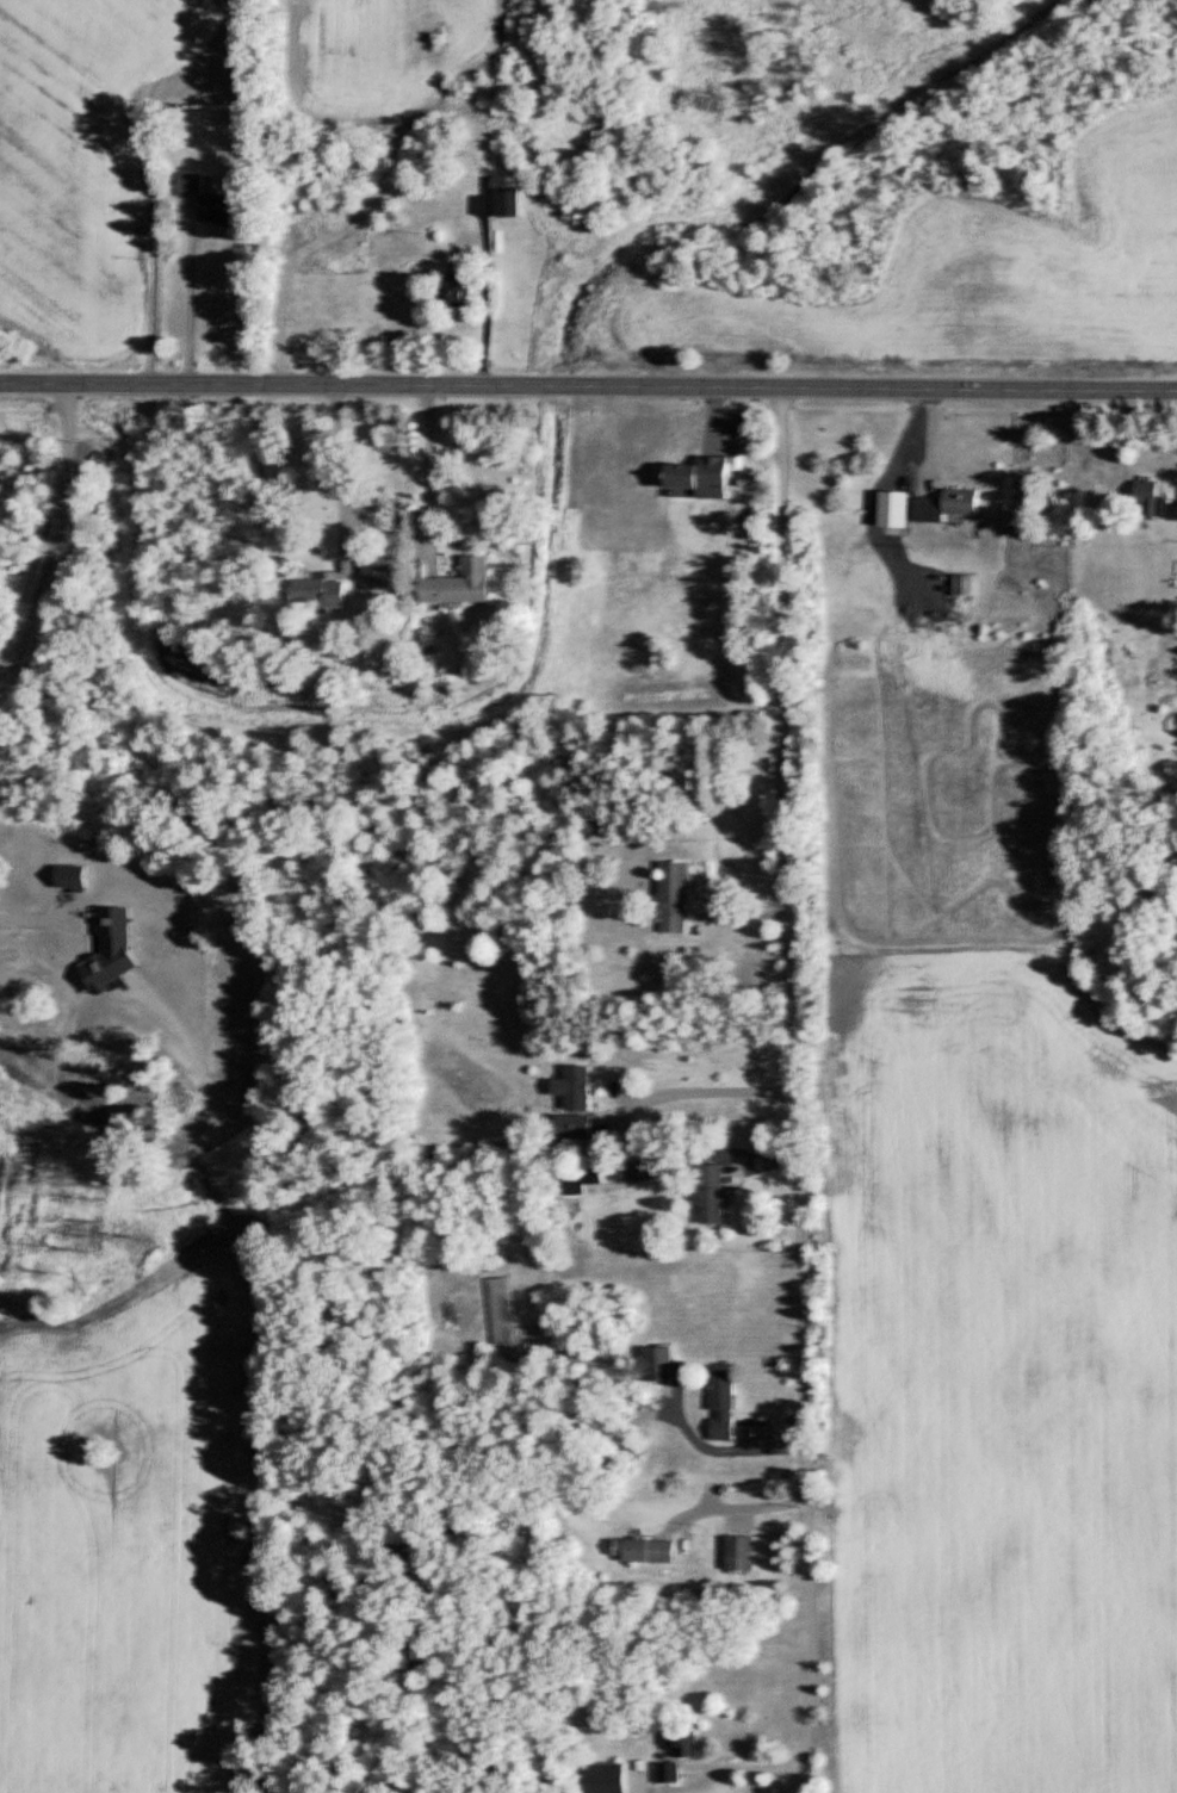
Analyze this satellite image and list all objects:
road: (153, 175)
building: (209, 199)
building: (507, 201)
road: (491, 289)
building: (457, 290)
road: (187, 308)
road: (588, 385)
road: (336, 455)
road: (427, 463)
building: (702, 477)
building: (1148, 492)
building: (947, 503)
road: (58, 533)
building: (378, 571)
building: (460, 582)
building: (961, 583)
building: (320, 591)
building: (674, 896)
road: (32, 918)
building: (575, 1087)
road: (702, 1092)
park: (134, 1096)
building: (572, 1125)
road: (800, 1137)
building: (708, 1193)
crop: (985, 1261)
building: (659, 1361)
building: (721, 1403)
road: (744, 1503)
building: (644, 1547)
building: (741, 1551)
building: (686, 1742)
building: (667, 1770)
building: (605, 1778)

